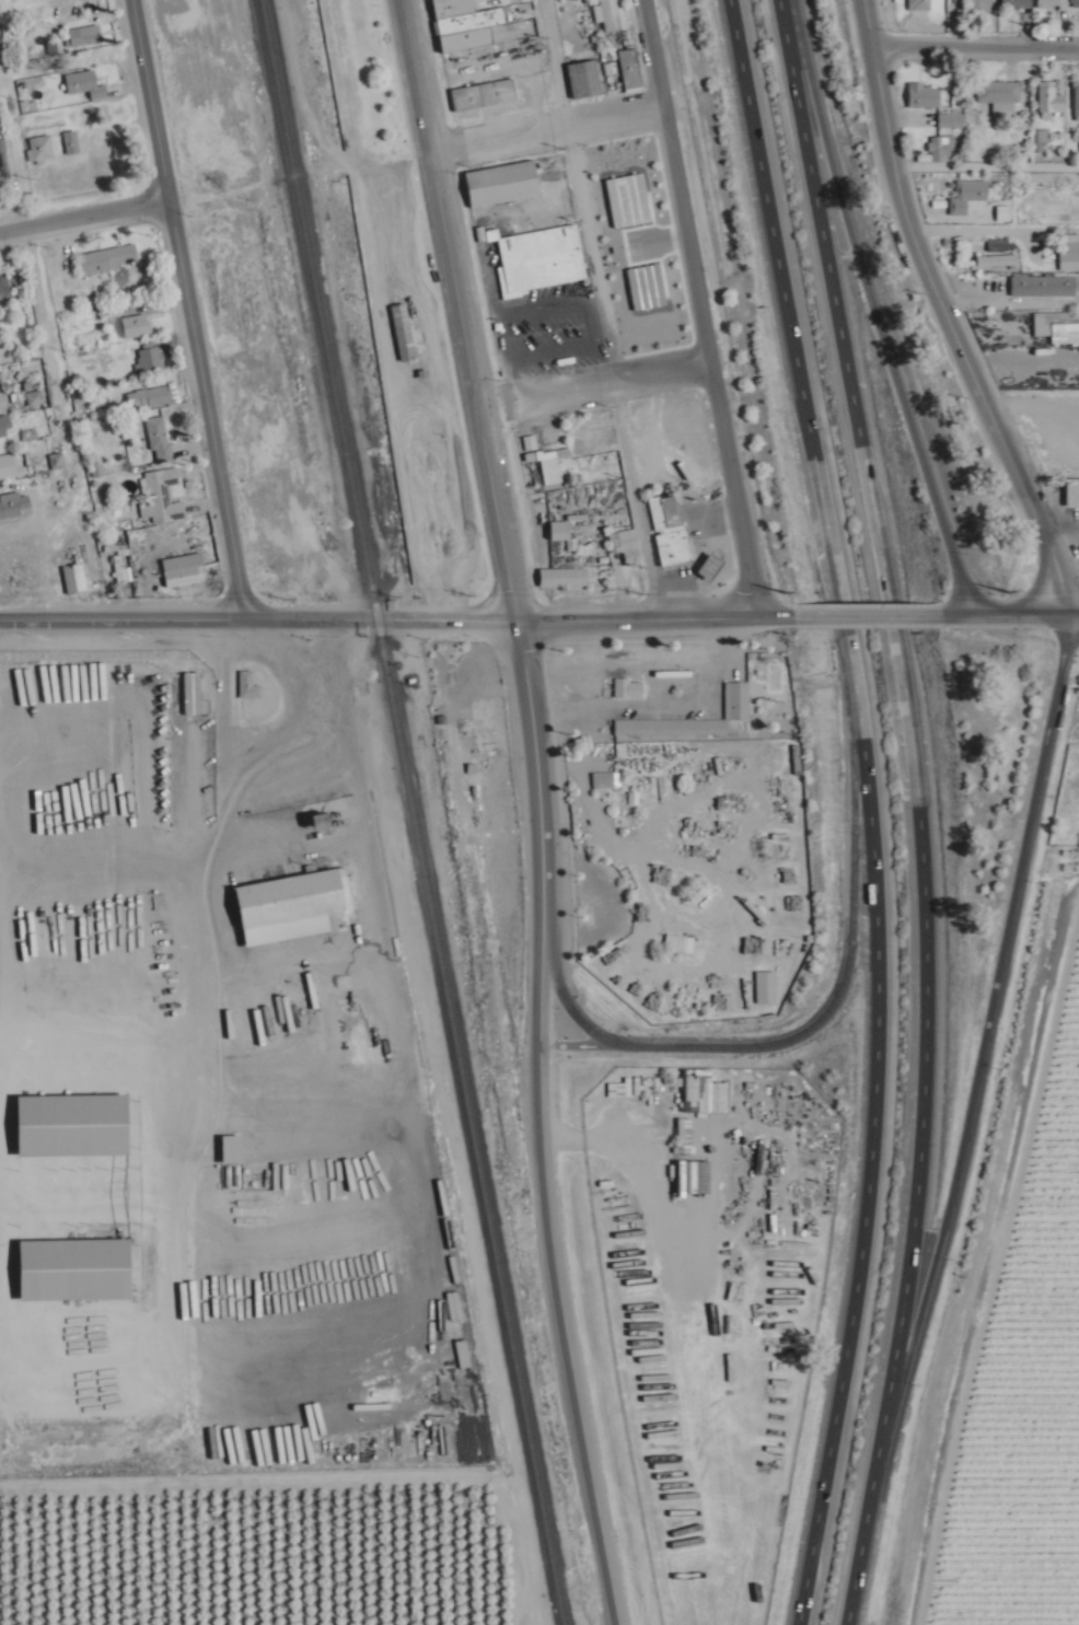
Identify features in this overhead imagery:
building: (1017, 3)
building: (1051, 3)
building: (1075, 3)
building: (920, 4)
building: (981, 4)
building: (614, 14)
building: (465, 24)
building: (90, 35)
road: (974, 38)
road: (554, 56)
building: (631, 68)
building: (584, 78)
building: (86, 84)
building: (487, 95)
building: (924, 95)
building: (1000, 95)
building: (1051, 101)
building: (1076, 101)
road: (542, 117)
building: (951, 120)
building: (1042, 140)
building: (74, 142)
building: (44, 148)
building: (943, 148)
road: (985, 173)
building: (0, 181)
building: (502, 183)
building: (971, 197)
road: (82, 206)
road: (978, 237)
road: (600, 239)
building: (1069, 252)
building: (545, 255)
building: (111, 259)
building: (997, 260)
building: (5, 285)
building: (1043, 286)
building: (253, 287)
road: (696, 302)
road: (185, 304)
road: (874, 304)
road: (942, 309)
road: (457, 311)
building: (138, 326)
building: (1057, 326)
building: (404, 329)
building: (152, 357)
road: (793, 364)
road: (589, 375)
building: (151, 397)
building: (7, 427)
building: (162, 439)
building: (553, 463)
building: (100, 466)
building: (11, 467)
road: (637, 490)
building: (1072, 491)
building: (165, 496)
building: (15, 503)
building: (670, 530)
building: (560, 531)
building: (631, 547)
building: (709, 567)
building: (275, 568)
building: (121, 569)
building: (184, 569)
building: (76, 578)
building: (564, 578)
road: (829, 605)
road: (902, 605)
road: (1000, 605)
road: (1072, 605)
road: (262, 611)
road: (655, 612)
building: (251, 685)
building: (630, 689)
building: (739, 701)
road: (673, 713)
building: (670, 729)
road: (542, 780)
building: (607, 781)
road: (917, 789)
railway: (418, 812)
building: (313, 822)
building: (290, 907)
building: (681, 944)
road: (844, 978)
road: (572, 999)
road: (581, 1044)
road: (972, 1098)
building: (67, 1126)
road: (863, 1179)
building: (295, 1244)
building: (363, 1249)
building: (70, 1270)
building: (299, 1274)
road: (559, 1286)
crop: (1022, 1380)
road: (848, 1604)

